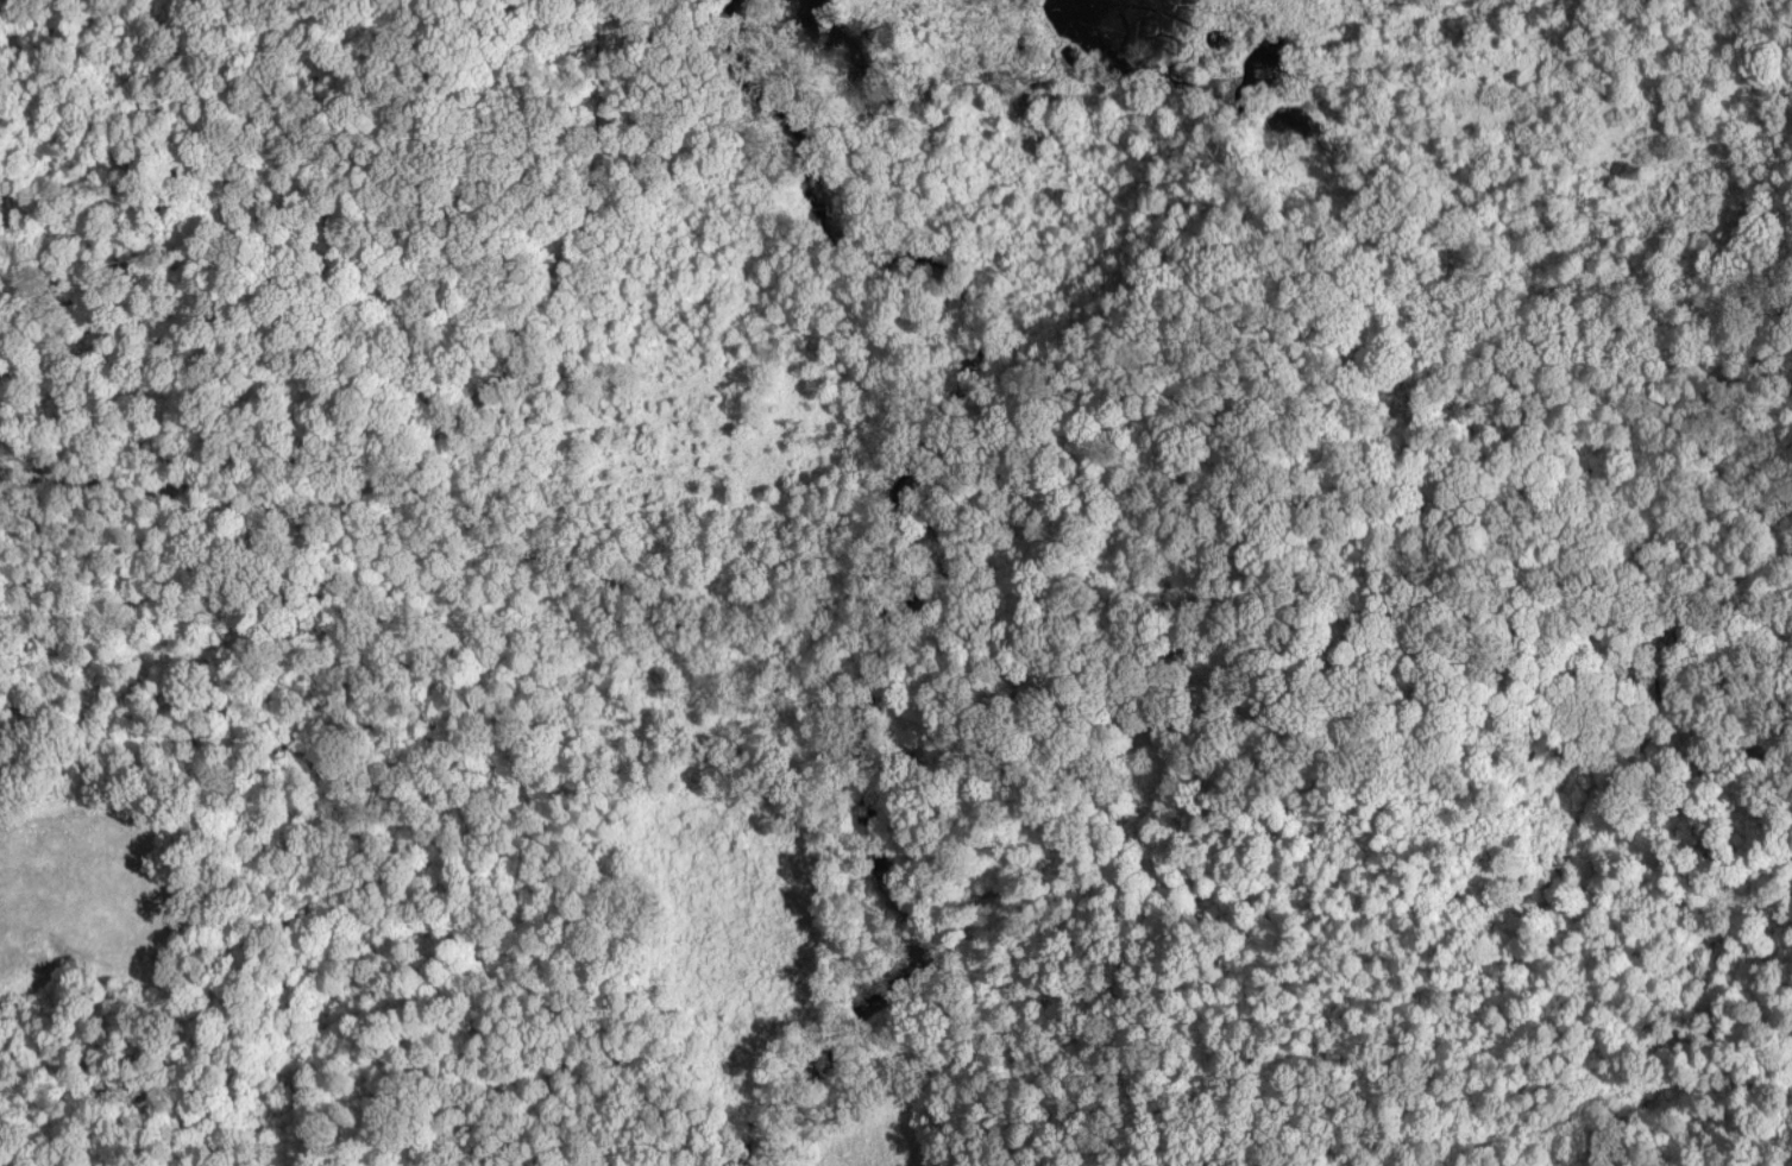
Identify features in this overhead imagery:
road: (464, 446)

